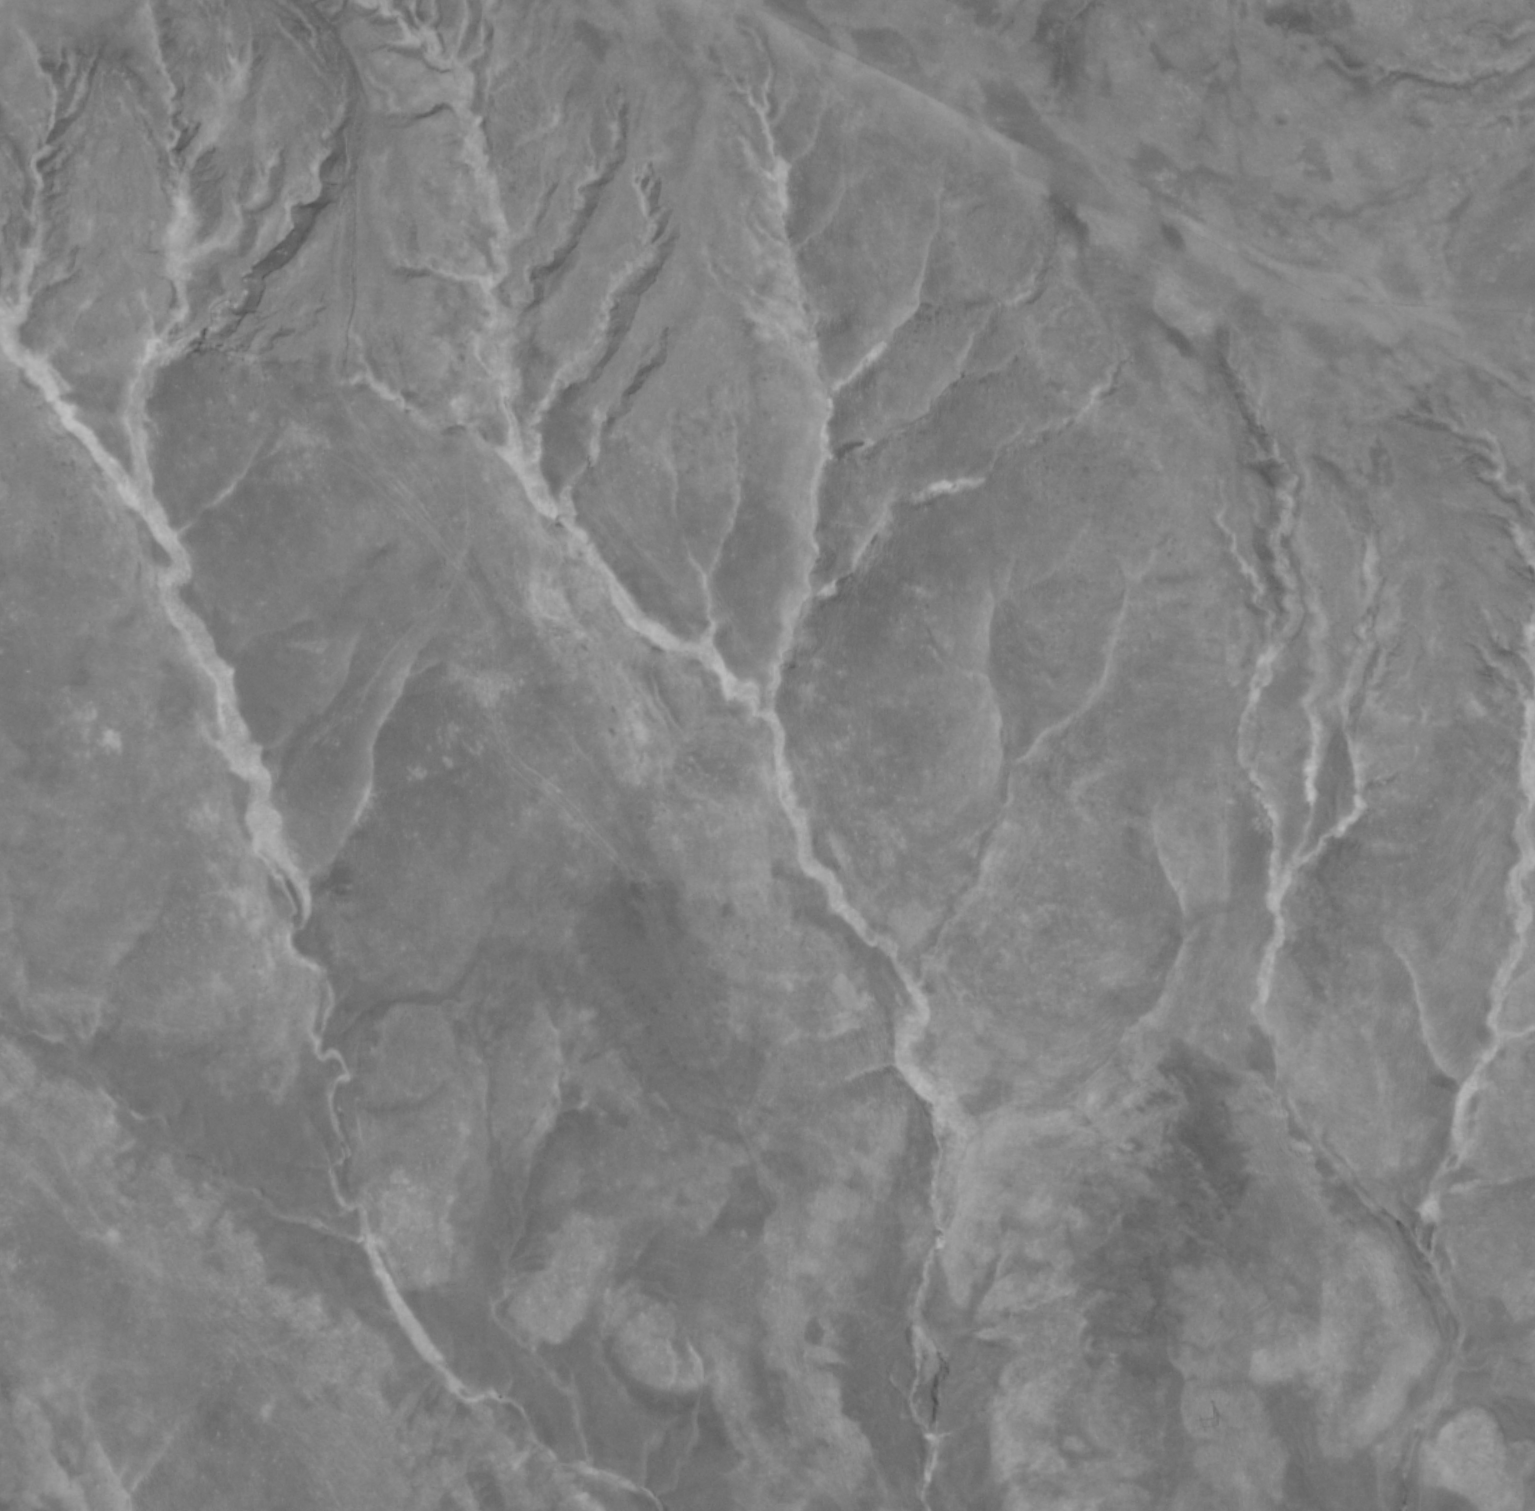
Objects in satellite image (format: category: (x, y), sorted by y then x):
power tower: (1214, 1422)

